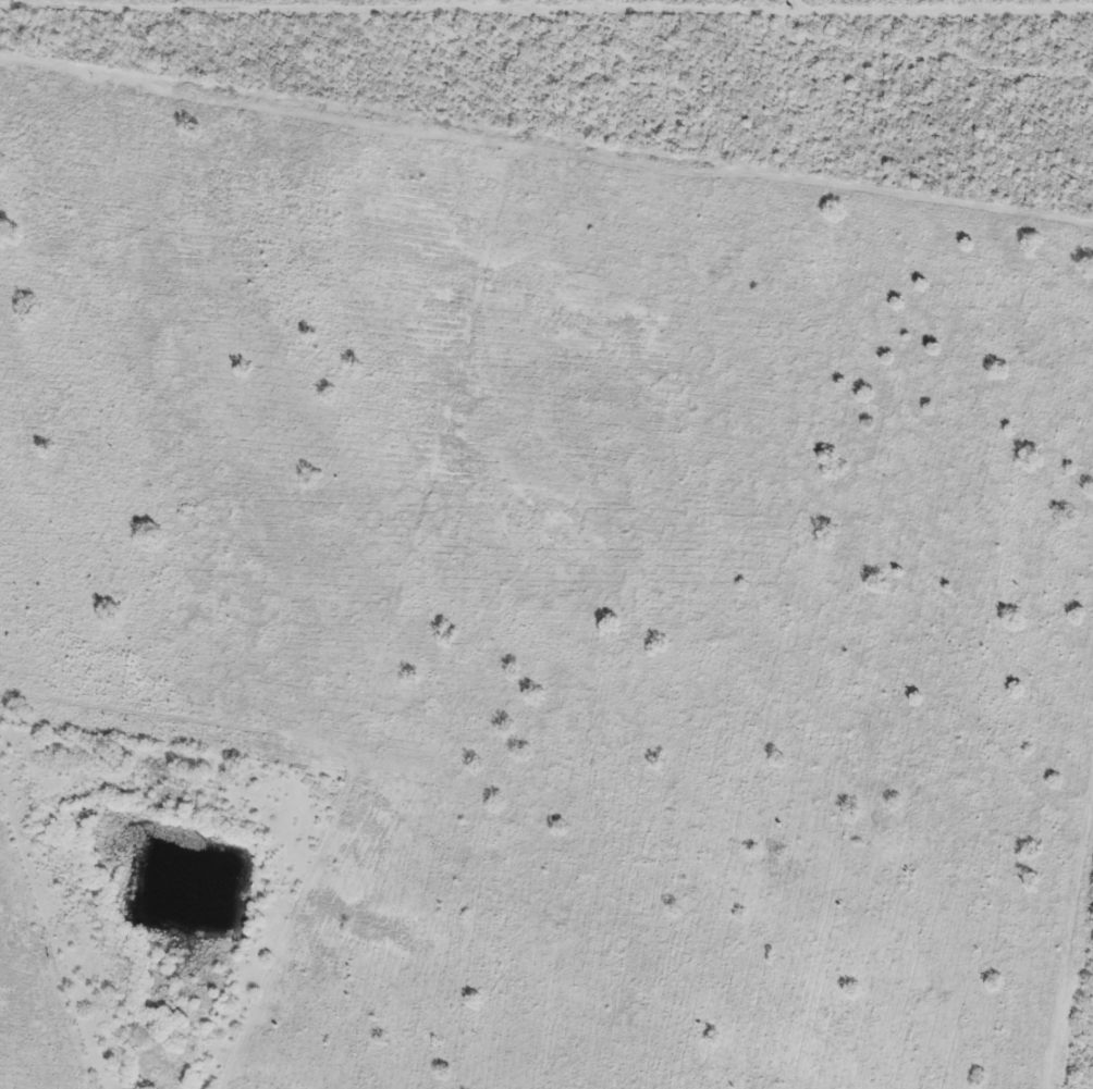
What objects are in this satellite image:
road: (1086, 1048)

